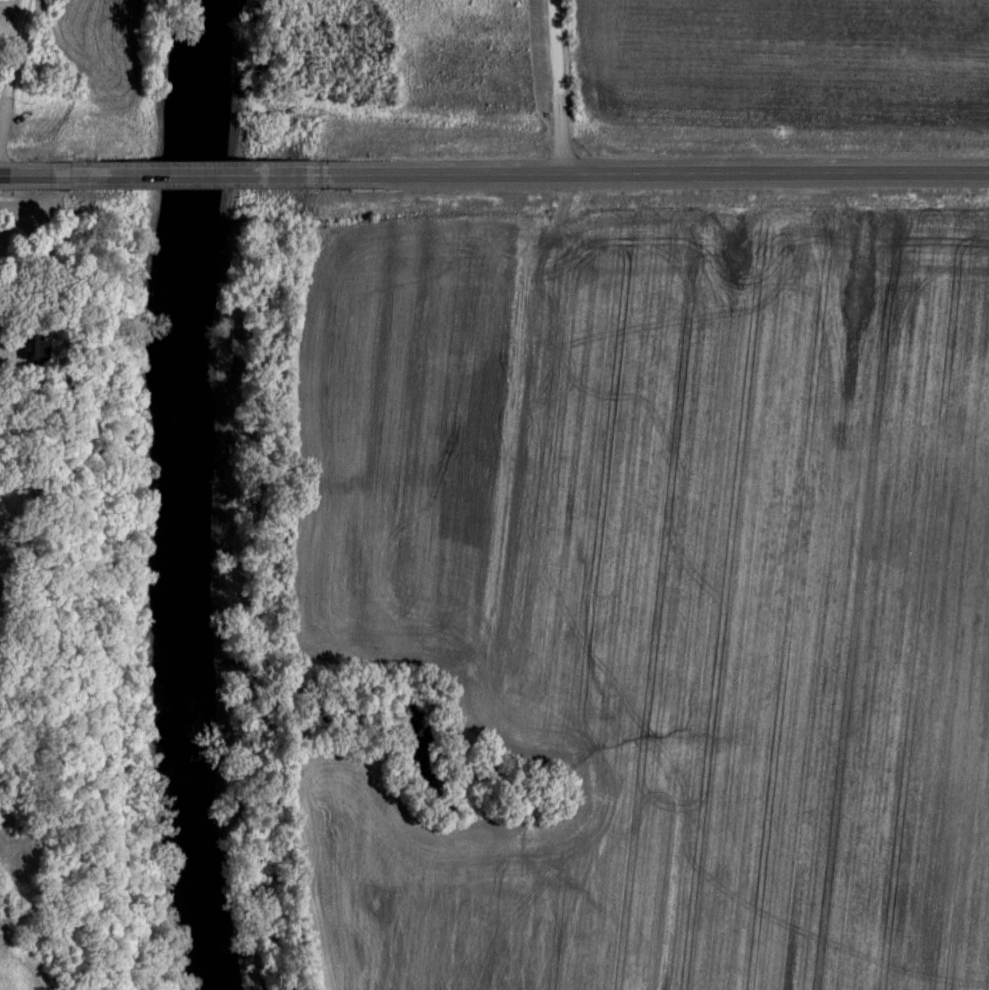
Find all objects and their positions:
road: (16, 76)
road: (32, 176)
road: (203, 176)
road: (665, 177)

